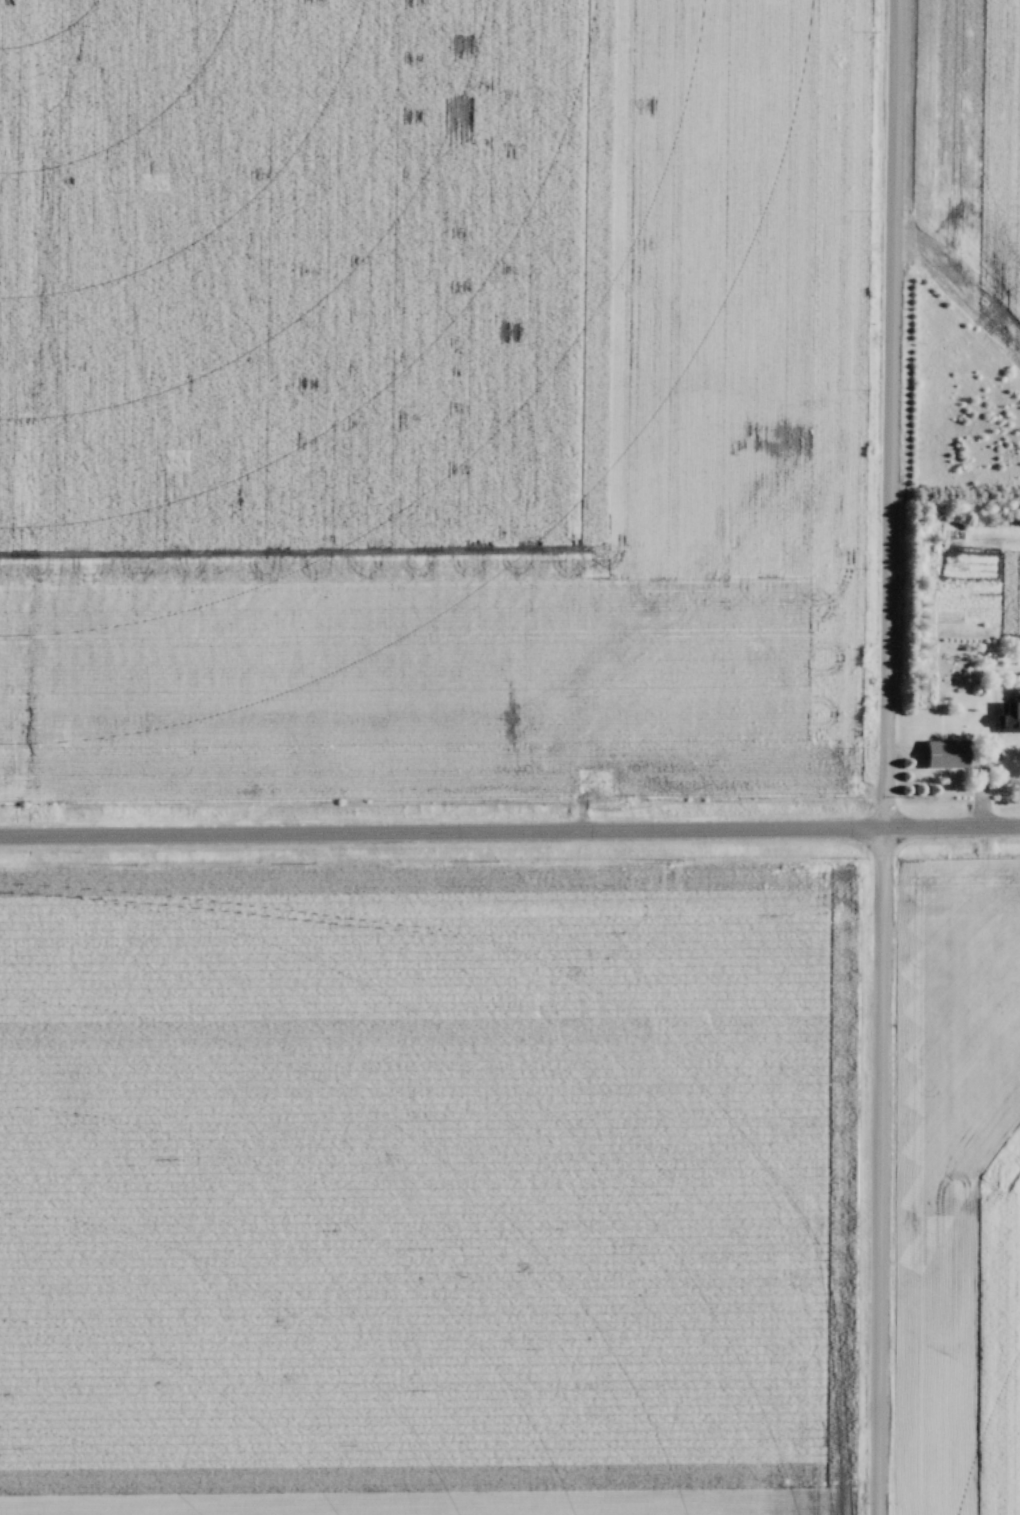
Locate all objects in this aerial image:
crop: (429, 384)
building: (1009, 752)
building: (952, 753)
road: (883, 757)
road: (509, 831)

